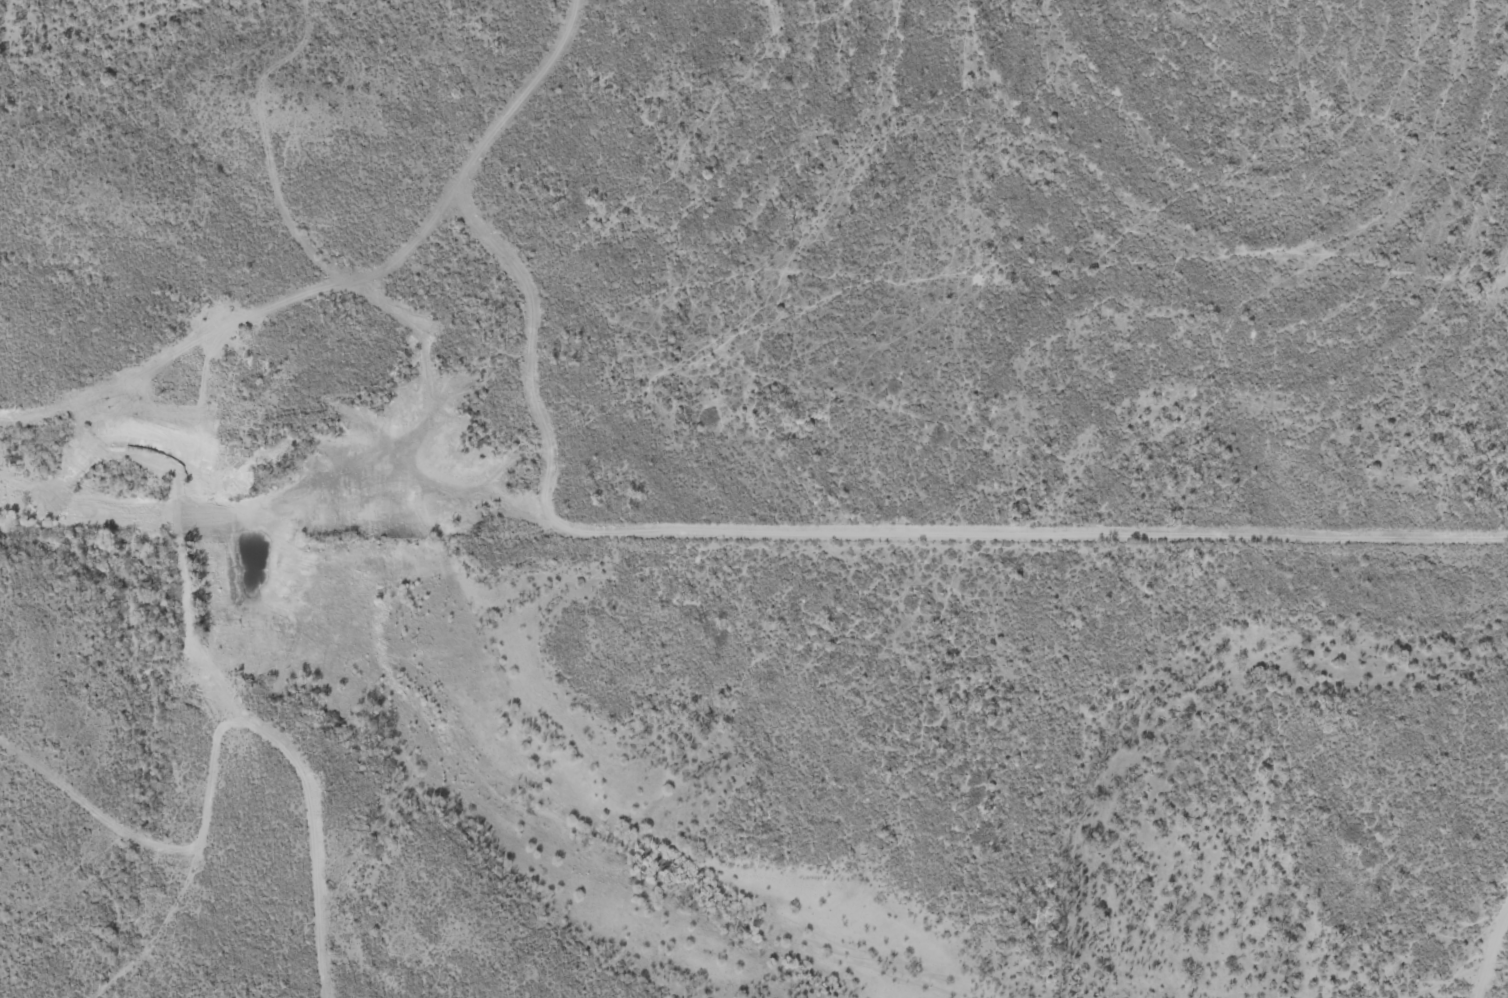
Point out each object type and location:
road: (348, 284)
road: (395, 741)
road: (167, 817)
road: (1394, 886)
road: (293, 950)
road: (329, 950)

